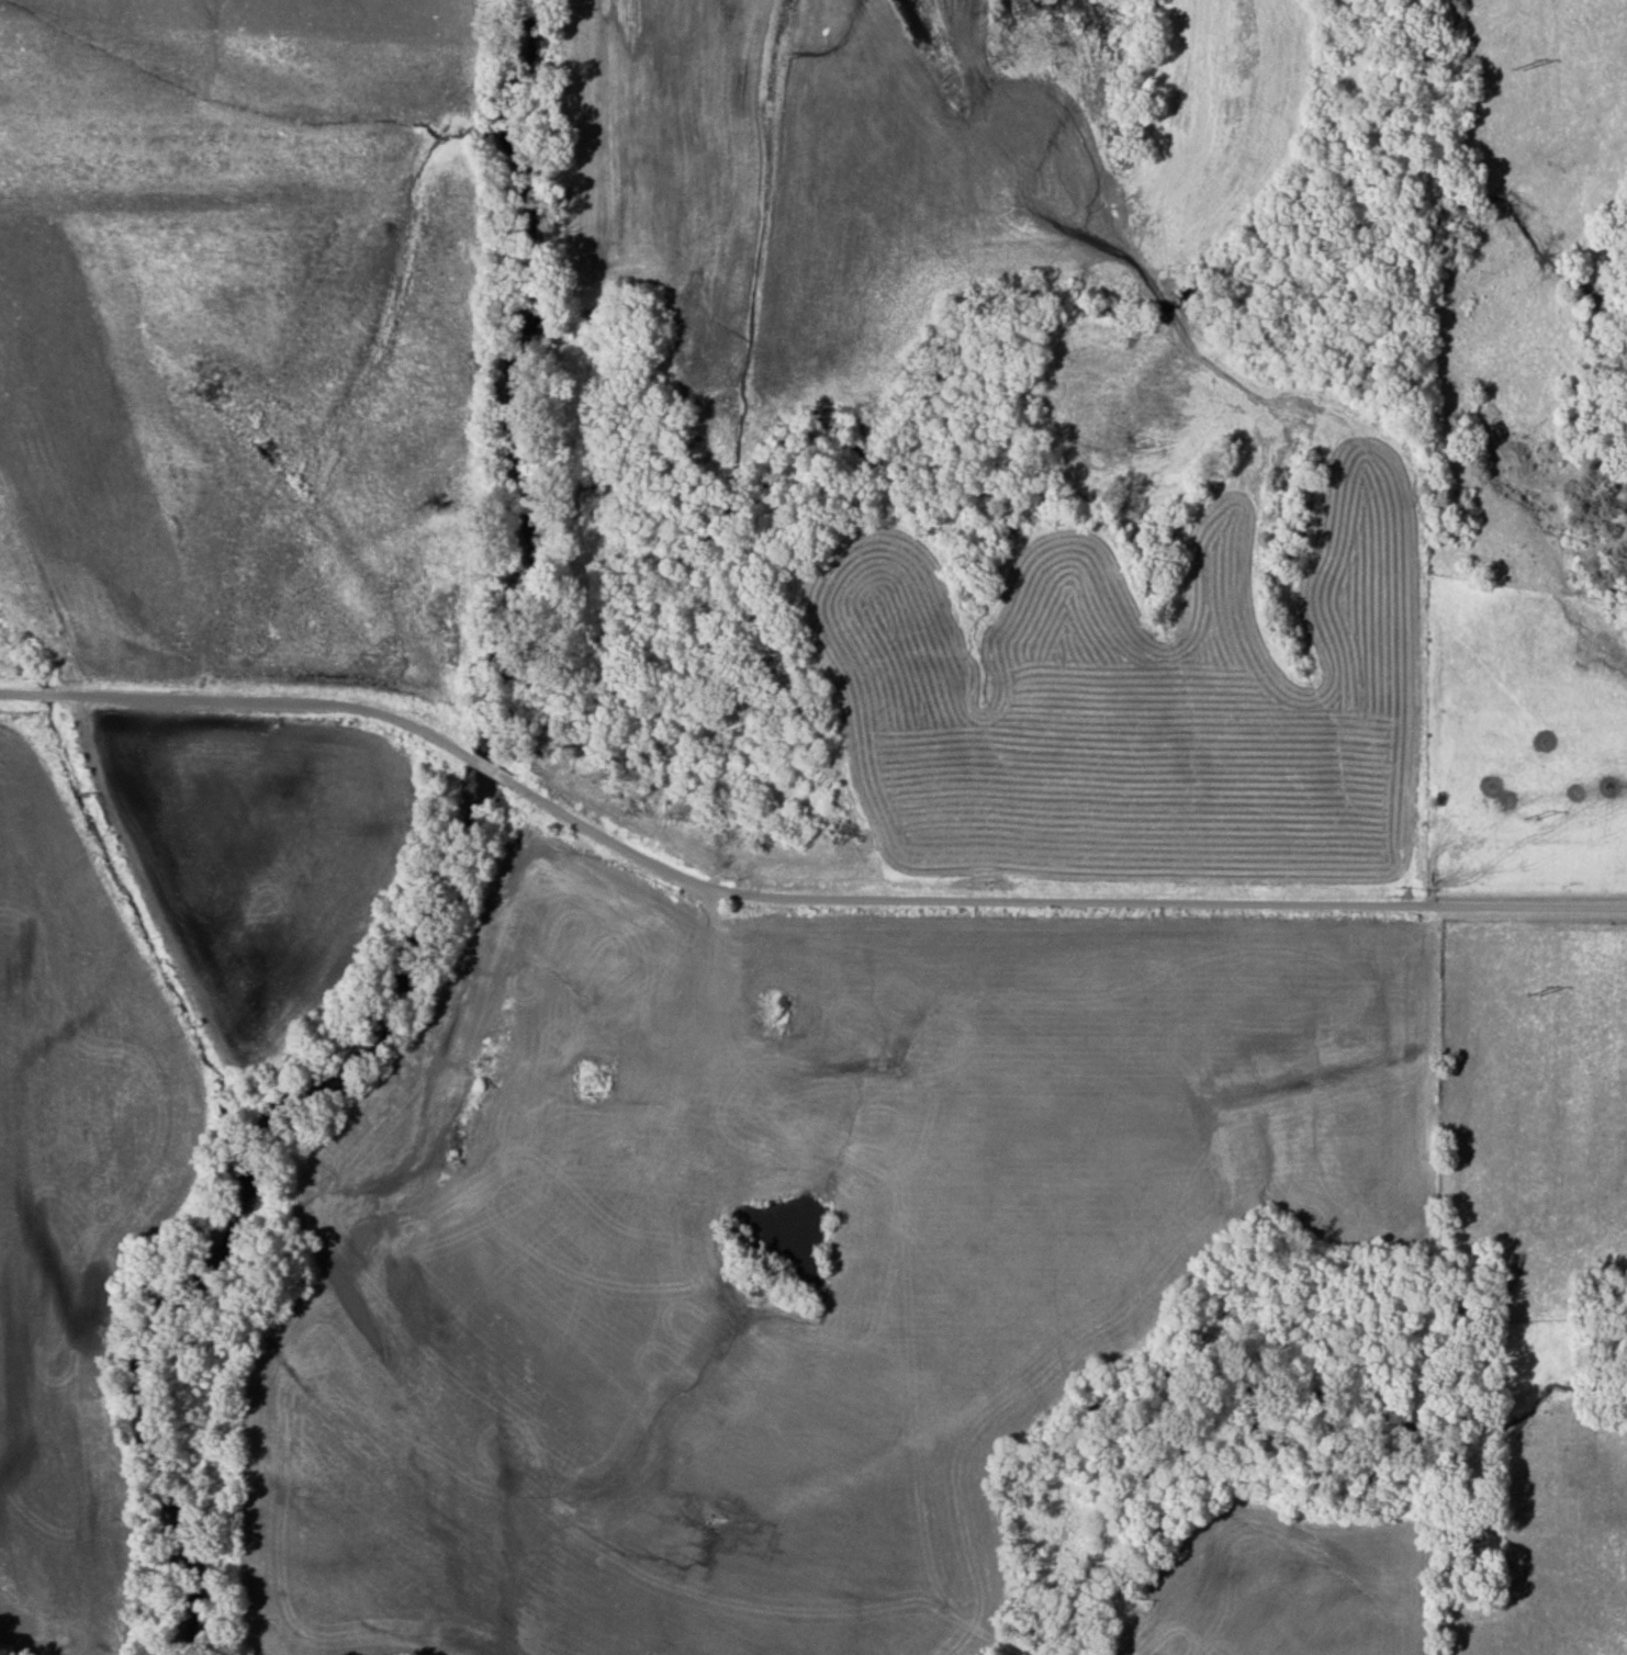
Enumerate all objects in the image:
power tower: (1517, 71)
power tower: (1527, 823)
road: (789, 897)
road: (712, 964)
power tower: (1527, 995)
building: (773, 1011)
building: (730, 1067)
building: (594, 1081)

